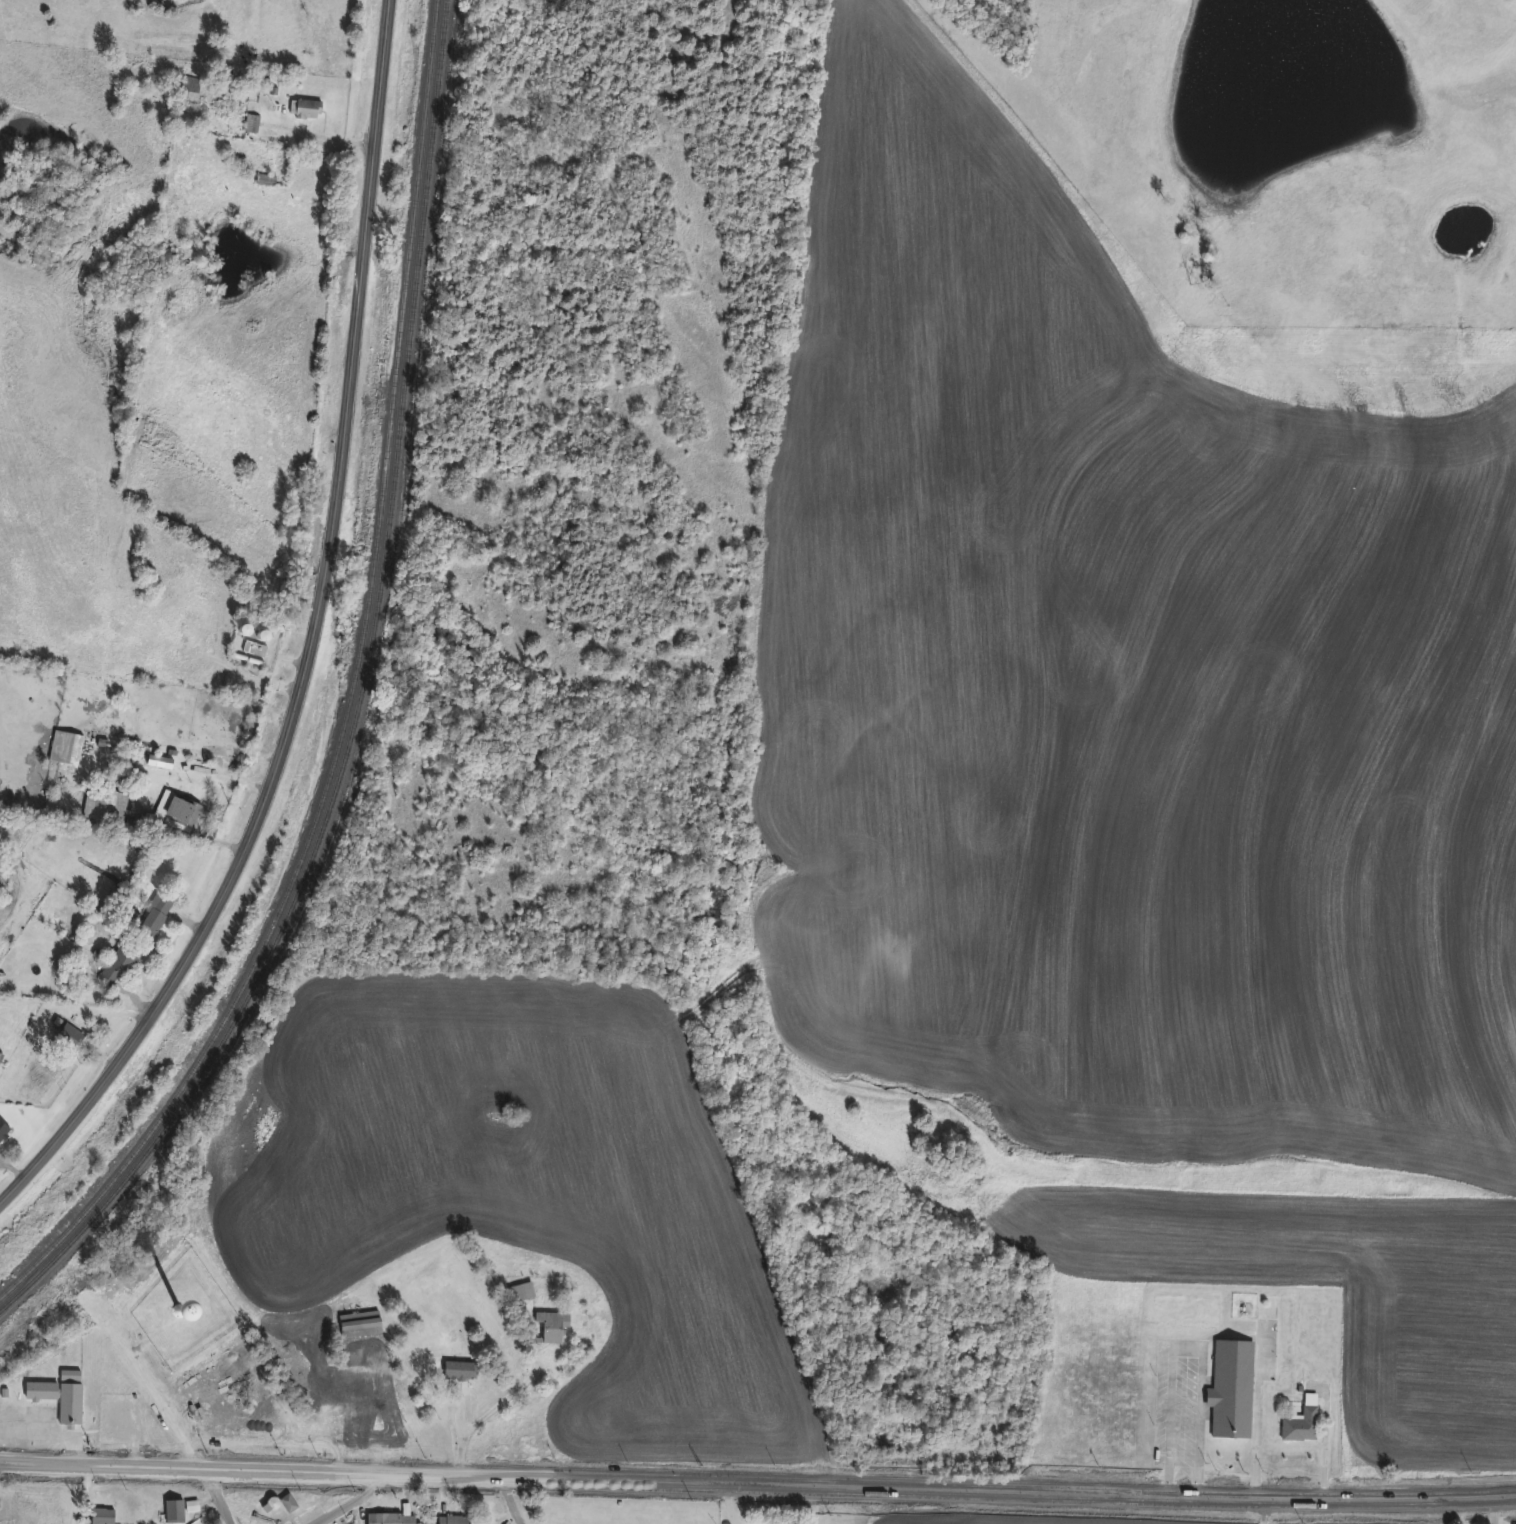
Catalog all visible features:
building: (189, 90)
building: (306, 110)
road: (326, 137)
road: (315, 648)
building: (254, 650)
railway: (349, 699)
railway: (357, 707)
building: (65, 748)
building: (104, 806)
building: (173, 812)
building: (154, 916)
building: (118, 965)
building: (70, 1037)
building: (1, 1058)
building: (4, 1132)
building: (521, 1292)
building: (360, 1325)
building: (552, 1327)
road: (1187, 1347)
building: (459, 1372)
building: (1230, 1391)
building: (60, 1395)
building: (363, 1395)
building: (265, 1408)
road: (1257, 1414)
road: (483, 1416)
building: (1301, 1425)
building: (346, 1430)
road: (179, 1438)
road: (1322, 1441)
road: (758, 1485)
road: (511, 1502)
road: (351, 1503)
building: (288, 1504)
building: (174, 1512)
road: (1461, 1512)
building: (102, 1517)
building: (391, 1519)
building: (453, 1520)

